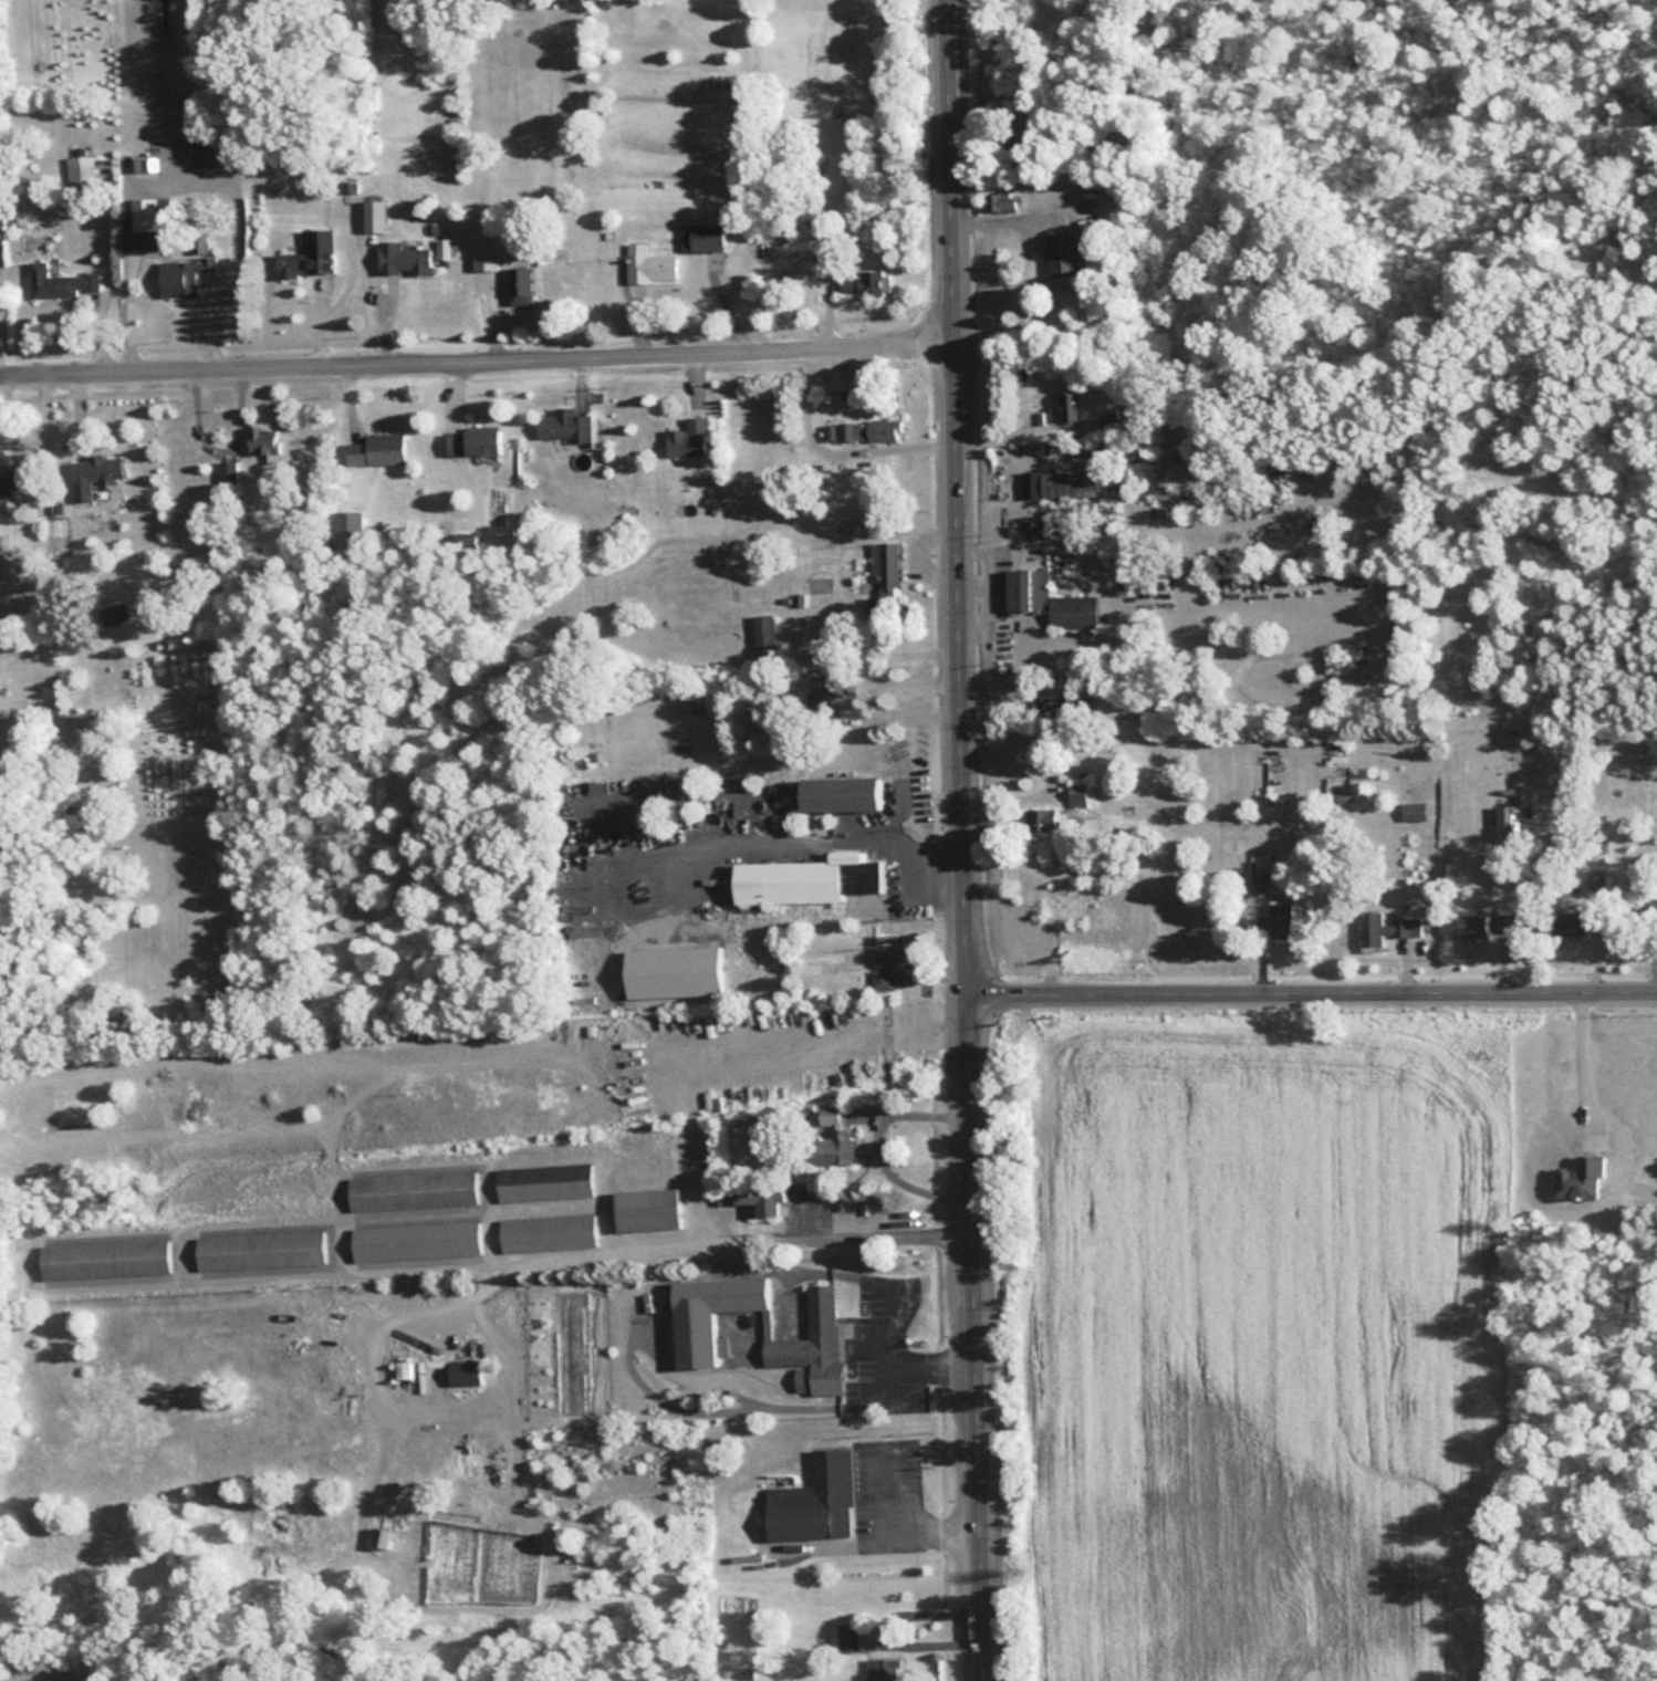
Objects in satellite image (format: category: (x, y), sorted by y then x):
building: (210, 152)
building: (146, 168)
building: (85, 174)
building: (1005, 205)
building: (377, 218)
building: (1091, 219)
building: (144, 225)
building: (707, 240)
building: (444, 249)
building: (486, 251)
building: (767, 252)
building: (1066, 258)
building: (313, 259)
building: (405, 261)
building: (652, 267)
building: (186, 278)
building: (64, 284)
building: (869, 284)
building: (523, 288)
road: (479, 356)
building: (1072, 406)
building: (1111, 425)
building: (566, 426)
building: (871, 432)
building: (690, 440)
building: (267, 441)
building: (477, 442)
building: (379, 451)
road: (834, 455)
building: (230, 476)
building: (96, 477)
building: (1072, 482)
building: (11, 484)
building: (351, 532)
building: (886, 567)
building: (1052, 602)
building: (885, 609)
building: (113, 615)
building: (765, 634)
building: (828, 692)
road: (859, 700)
building: (704, 706)
building: (1051, 707)
road: (1050, 769)
building: (845, 795)
building: (1081, 797)
building: (1414, 812)
building: (1044, 822)
building: (1509, 824)
road: (966, 839)
road: (875, 844)
building: (811, 881)
building: (1261, 885)
building: (1650, 910)
building: (1284, 922)
building: (1584, 925)
building: (1489, 927)
building: (1386, 930)
building: (890, 953)
building: (675, 972)
building: (886, 983)
road: (1313, 986)
road: (875, 1148)
building: (837, 1150)
building: (546, 1184)
building: (415, 1193)
building: (757, 1198)
building: (650, 1212)
building: (550, 1234)
building: (418, 1243)
road: (687, 1246)
building: (262, 1253)
building: (106, 1262)
building: (697, 1326)
building: (467, 1375)
building: (817, 1503)
building: (383, 1537)
road: (883, 1541)
road: (882, 1628)
building: (848, 1640)
building: (883, 1670)

